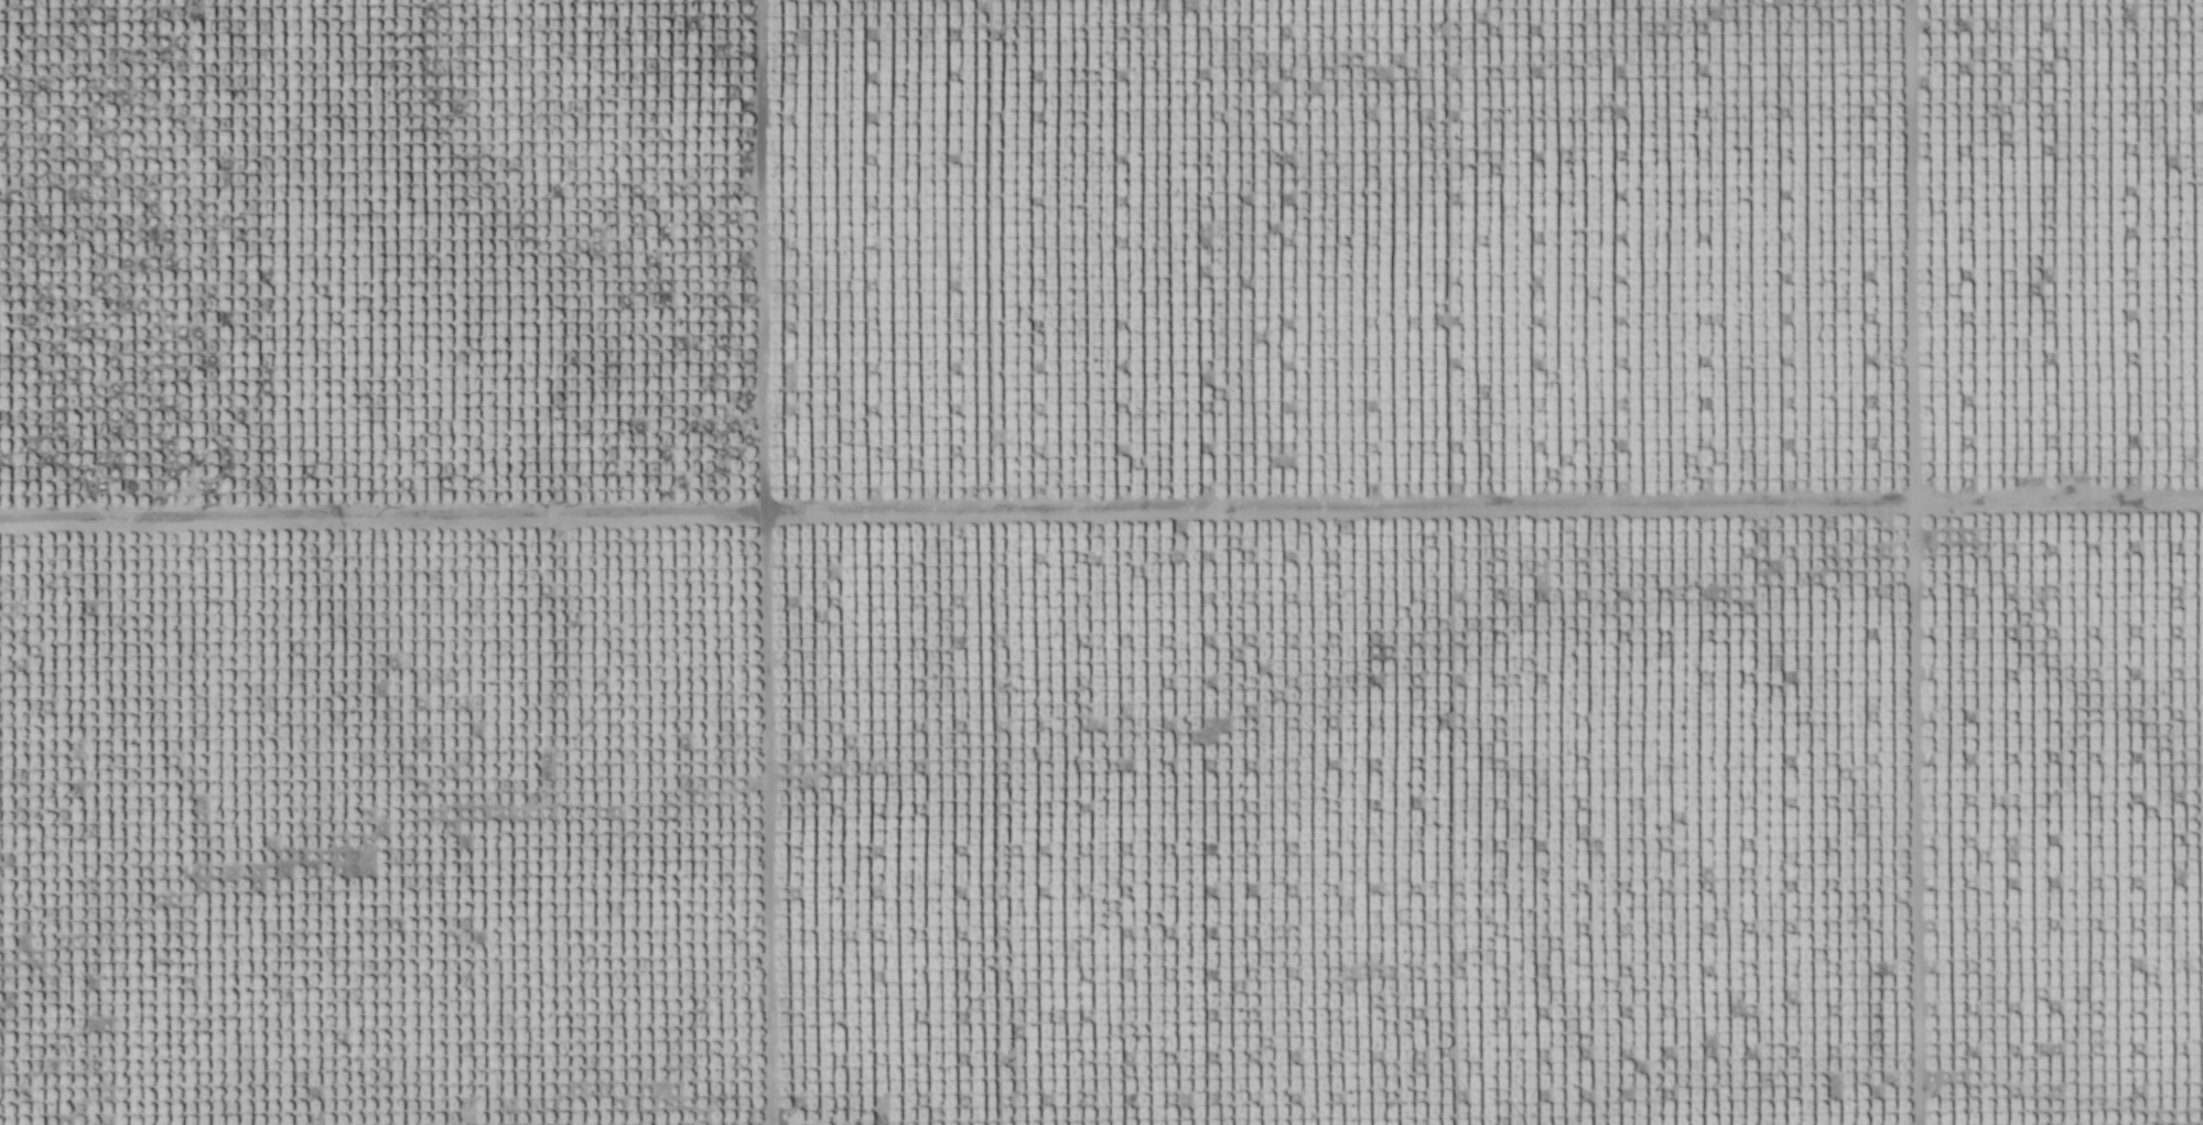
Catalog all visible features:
road: (823, 516)

